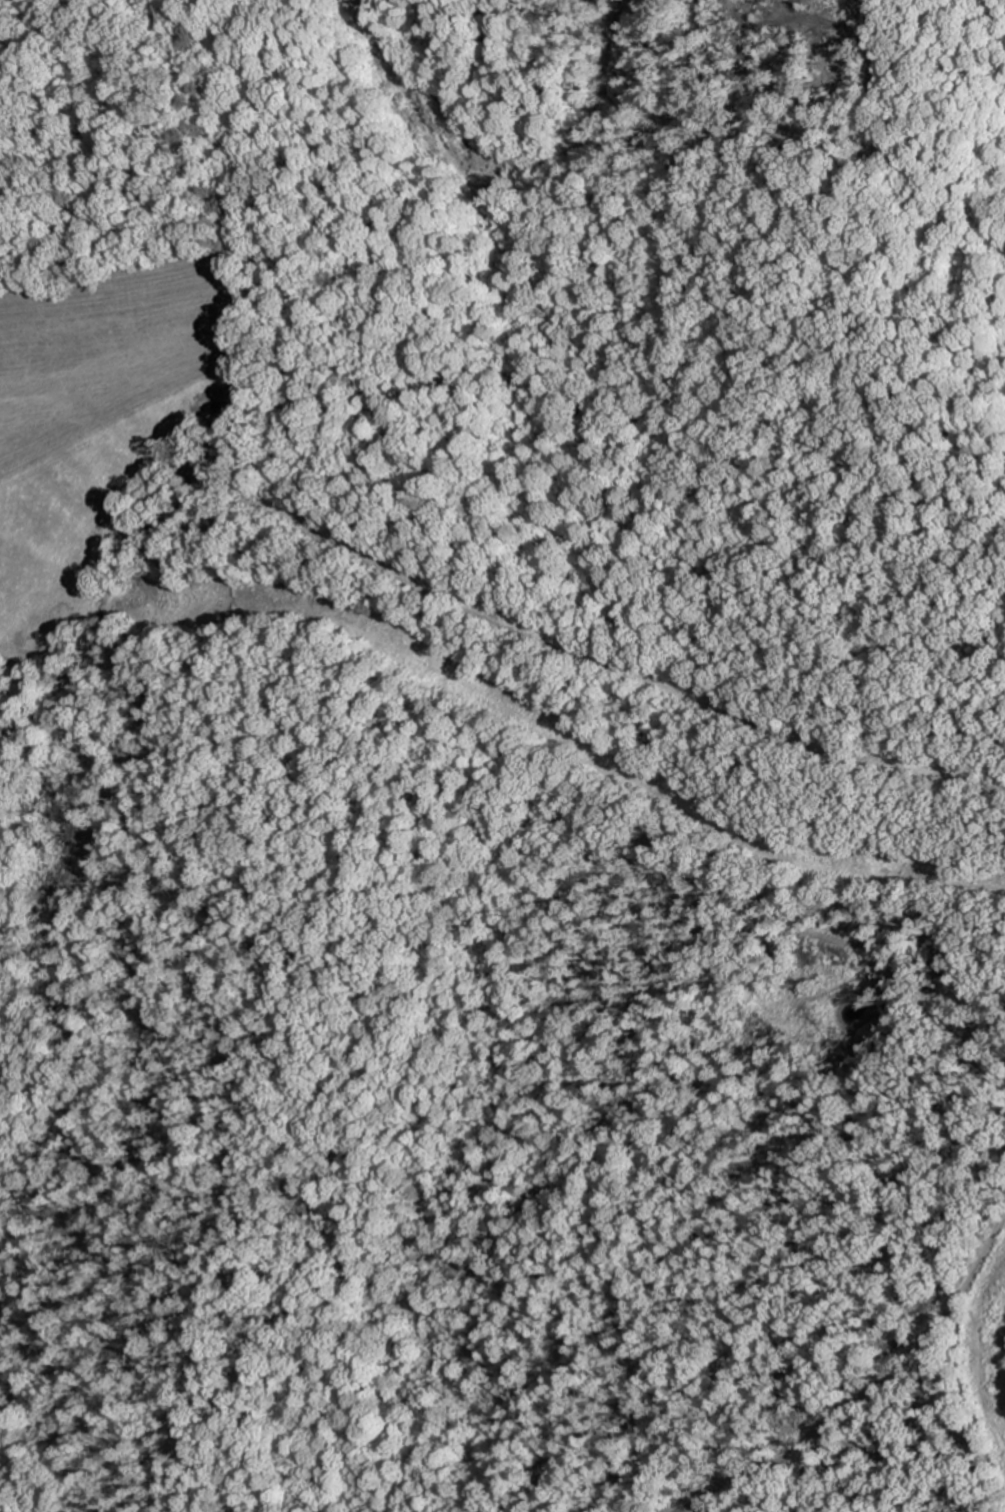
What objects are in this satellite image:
road: (837, 1459)

